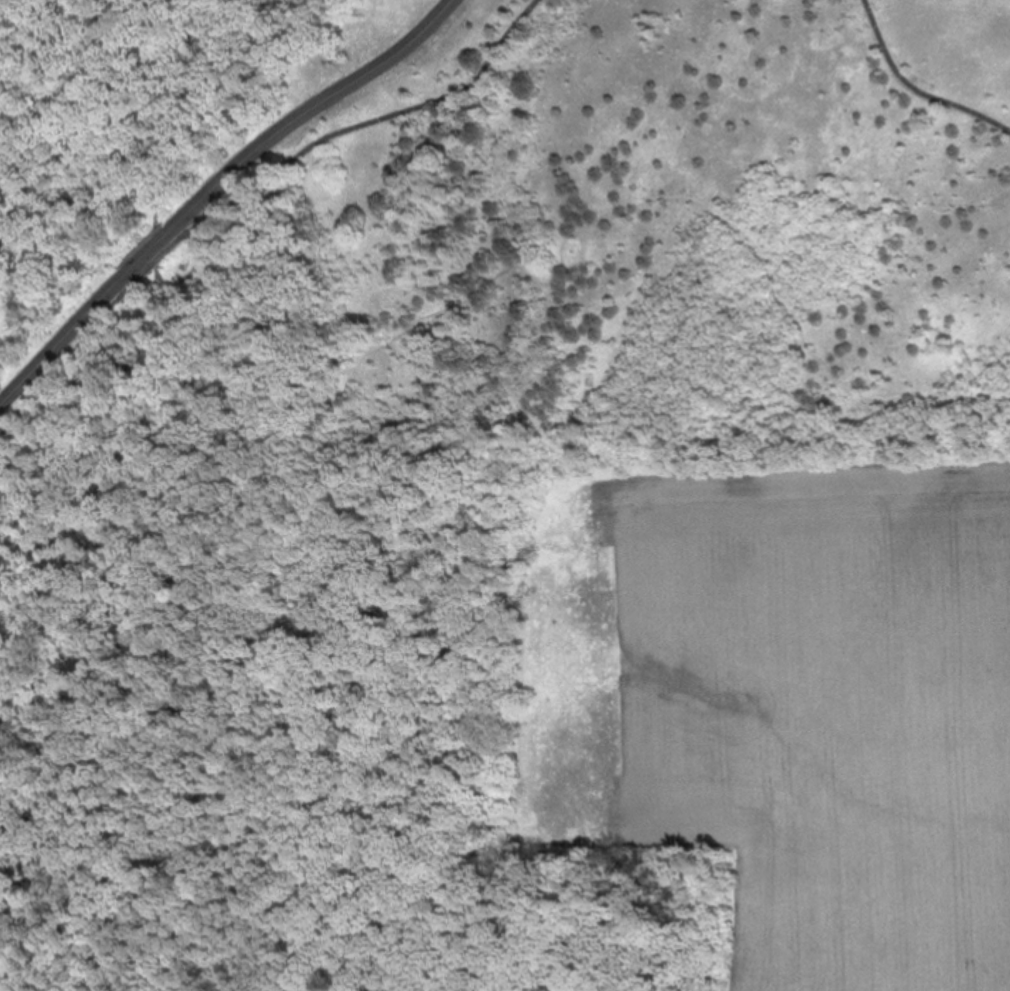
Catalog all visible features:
road: (914, 90)
road: (311, 110)
road: (366, 122)
road: (154, 253)
road: (147, 255)
road: (150, 270)
road: (131, 291)
road: (60, 343)
road: (61, 368)
road: (368, 369)
park: (413, 369)
road: (0, 891)

